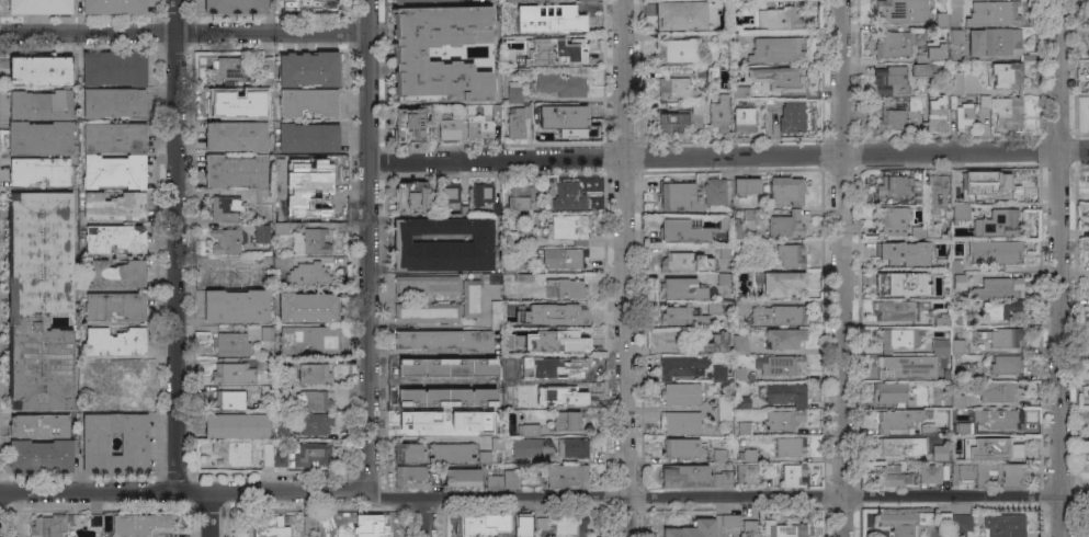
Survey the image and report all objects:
building: (512, 0)
building: (417, 1)
building: (494, 1)
building: (954, 1)
building: (309, 4)
building: (39, 7)
building: (114, 7)
building: (235, 7)
building: (900, 11)
building: (995, 13)
building: (679, 14)
building: (511, 19)
building: (561, 19)
building: (780, 19)
building: (944, 20)
road: (184, 30)
building: (956, 35)
building: (728, 36)
building: (737, 38)
building: (996, 43)
building: (892, 44)
building: (775, 49)
building: (681, 52)
building: (408, 54)
building: (559, 54)
building: (922, 58)
building: (113, 68)
building: (227, 69)
building: (307, 69)
building: (38, 70)
building: (920, 70)
building: (706, 72)
road: (1055, 73)
building: (1006, 76)
building: (780, 78)
building: (889, 80)
building: (263, 82)
building: (956, 82)
building: (560, 83)
building: (674, 88)
building: (513, 92)
building: (740, 92)
building: (307, 102)
building: (113, 103)
building: (912, 103)
building: (230, 104)
building: (38, 105)
building: (696, 105)
building: (770, 105)
building: (1003, 111)
building: (718, 112)
building: (935, 113)
building: (962, 113)
building: (561, 116)
building: (791, 116)
building: (478, 119)
building: (744, 119)
building: (891, 119)
building: (517, 122)
building: (673, 123)
building: (409, 125)
building: (447, 128)
building: (236, 136)
building: (38, 137)
building: (307, 138)
road: (727, 153)
building: (135, 157)
building: (311, 169)
building: (37, 171)
building: (235, 171)
building: (280, 181)
building: (746, 185)
building: (957, 185)
building: (899, 186)
building: (1001, 186)
building: (785, 191)
building: (714, 192)
building: (449, 193)
building: (935, 193)
building: (282, 194)
building: (262, 195)
building: (480, 195)
building: (520, 195)
building: (568, 195)
building: (676, 195)
building: (412, 196)
building: (114, 206)
building: (316, 206)
building: (225, 208)
building: (464, 209)
building: (958, 213)
building: (749, 215)
building: (893, 216)
building: (723, 222)
building: (1000, 224)
building: (786, 225)
building: (281, 228)
building: (736, 228)
building: (265, 229)
building: (568, 229)
building: (682, 230)
building: (924, 230)
building: (520, 237)
building: (114, 238)
building: (226, 241)
building: (315, 241)
building: (926, 244)
road: (179, 245)
building: (443, 245)
road: (366, 247)
building: (724, 251)
building: (996, 251)
building: (790, 255)
building: (891, 255)
building: (942, 255)
building: (564, 258)
building: (685, 262)
building: (272, 263)
building: (511, 265)
road: (838, 267)
road: (622, 268)
building: (114, 274)
building: (955, 275)
building: (232, 276)
building: (308, 276)
building: (520, 276)
building: (488, 278)
building: (723, 278)
building: (938, 282)
building: (896, 283)
building: (780, 284)
building: (427, 285)
building: (997, 287)
building: (567, 288)
building: (681, 288)
building: (469, 298)
building: (38, 302)
building: (525, 305)
building: (114, 306)
building: (236, 306)
building: (738, 306)
building: (306, 307)
building: (713, 307)
building: (998, 309)
building: (895, 310)
building: (426, 312)
building: (496, 313)
building: (563, 316)
building: (680, 316)
building: (776, 316)
building: (940, 319)
building: (956, 319)
building: (266, 333)
building: (508, 333)
building: (783, 338)
building: (1001, 338)
building: (308, 339)
building: (897, 339)
building: (445, 340)
building: (567, 340)
building: (114, 342)
road: (1056, 342)
building: (715, 343)
building: (230, 344)
building: (739, 344)
building: (939, 345)
building: (957, 346)
building: (524, 353)
building: (272, 364)
building: (1006, 364)
building: (83, 365)
building: (779, 365)
building: (680, 366)
building: (906, 366)
building: (490, 367)
building: (418, 368)
building: (567, 369)
building: (967, 372)
building: (107, 373)
building: (232, 373)
building: (315, 373)
building: (722, 374)
building: (738, 374)
building: (999, 391)
building: (422, 392)
building: (567, 392)
building: (891, 392)
building: (680, 393)
building: (785, 393)
building: (275, 395)
building: (228, 400)
building: (314, 400)
building: (120, 401)
building: (742, 401)
building: (957, 401)
building: (455, 402)
building: (536, 403)
building: (724, 408)
building: (277, 415)
building: (899, 419)
building: (784, 420)
building: (987, 420)
building: (416, 421)
building: (570, 421)
building: (680, 422)
building: (315, 423)
building: (37, 425)
building: (236, 425)
building: (744, 427)
building: (454, 429)
building: (528, 430)
building: (927, 430)
building: (280, 432)
building: (920, 442)
building: (497, 443)
building: (95, 446)
building: (790, 446)
building: (893, 446)
building: (531, 447)
building: (575, 448)
building: (681, 448)
building: (990, 448)
building: (226, 452)
building: (451, 452)
building: (407, 453)
building: (940, 453)
building: (266, 454)
building: (310, 454)
building: (718, 455)
building: (747, 455)
building: (39, 456)
building: (484, 457)
building: (280, 460)
building: (962, 472)
building: (932, 473)
building: (1001, 473)
building: (746, 475)
building: (567, 476)
building: (685, 476)
building: (894, 476)
building: (463, 477)
building: (793, 477)
building: (413, 478)
building: (722, 478)
building: (502, 479)
road: (183, 492)
road: (727, 494)
road: (208, 514)
road: (424, 516)
building: (943, 518)
building: (94, 521)
building: (730, 521)
building: (326, 522)
building: (309, 523)
building: (904, 523)
building: (541, 524)
building: (49, 525)
building: (961, 525)
building: (1003, 525)
building: (141, 526)
building: (372, 526)
building: (477, 526)
building: (570, 526)
building: (266, 527)
building: (523, 527)
building: (773, 528)
building: (691, 529)
building: (729, 536)

